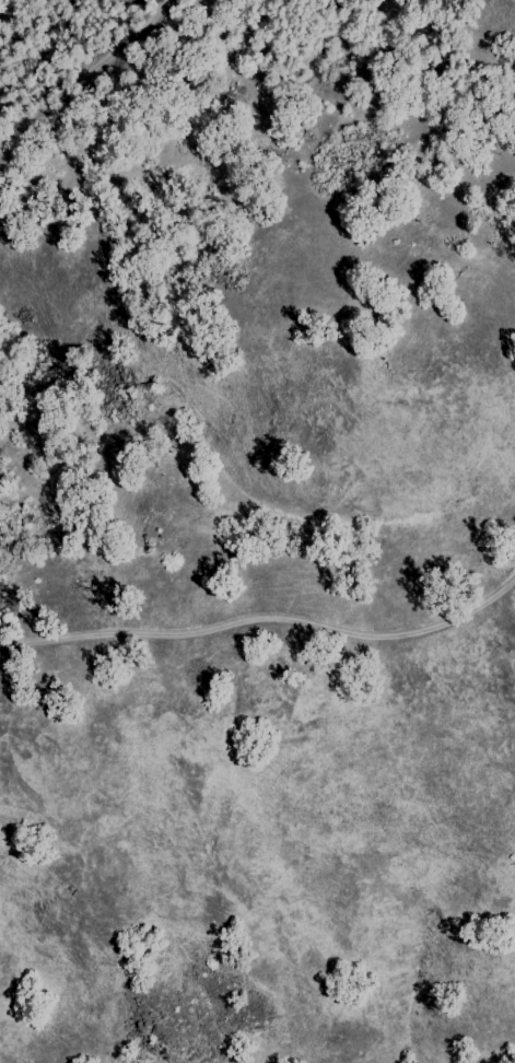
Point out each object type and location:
road: (98, 69)
road: (265, 622)

